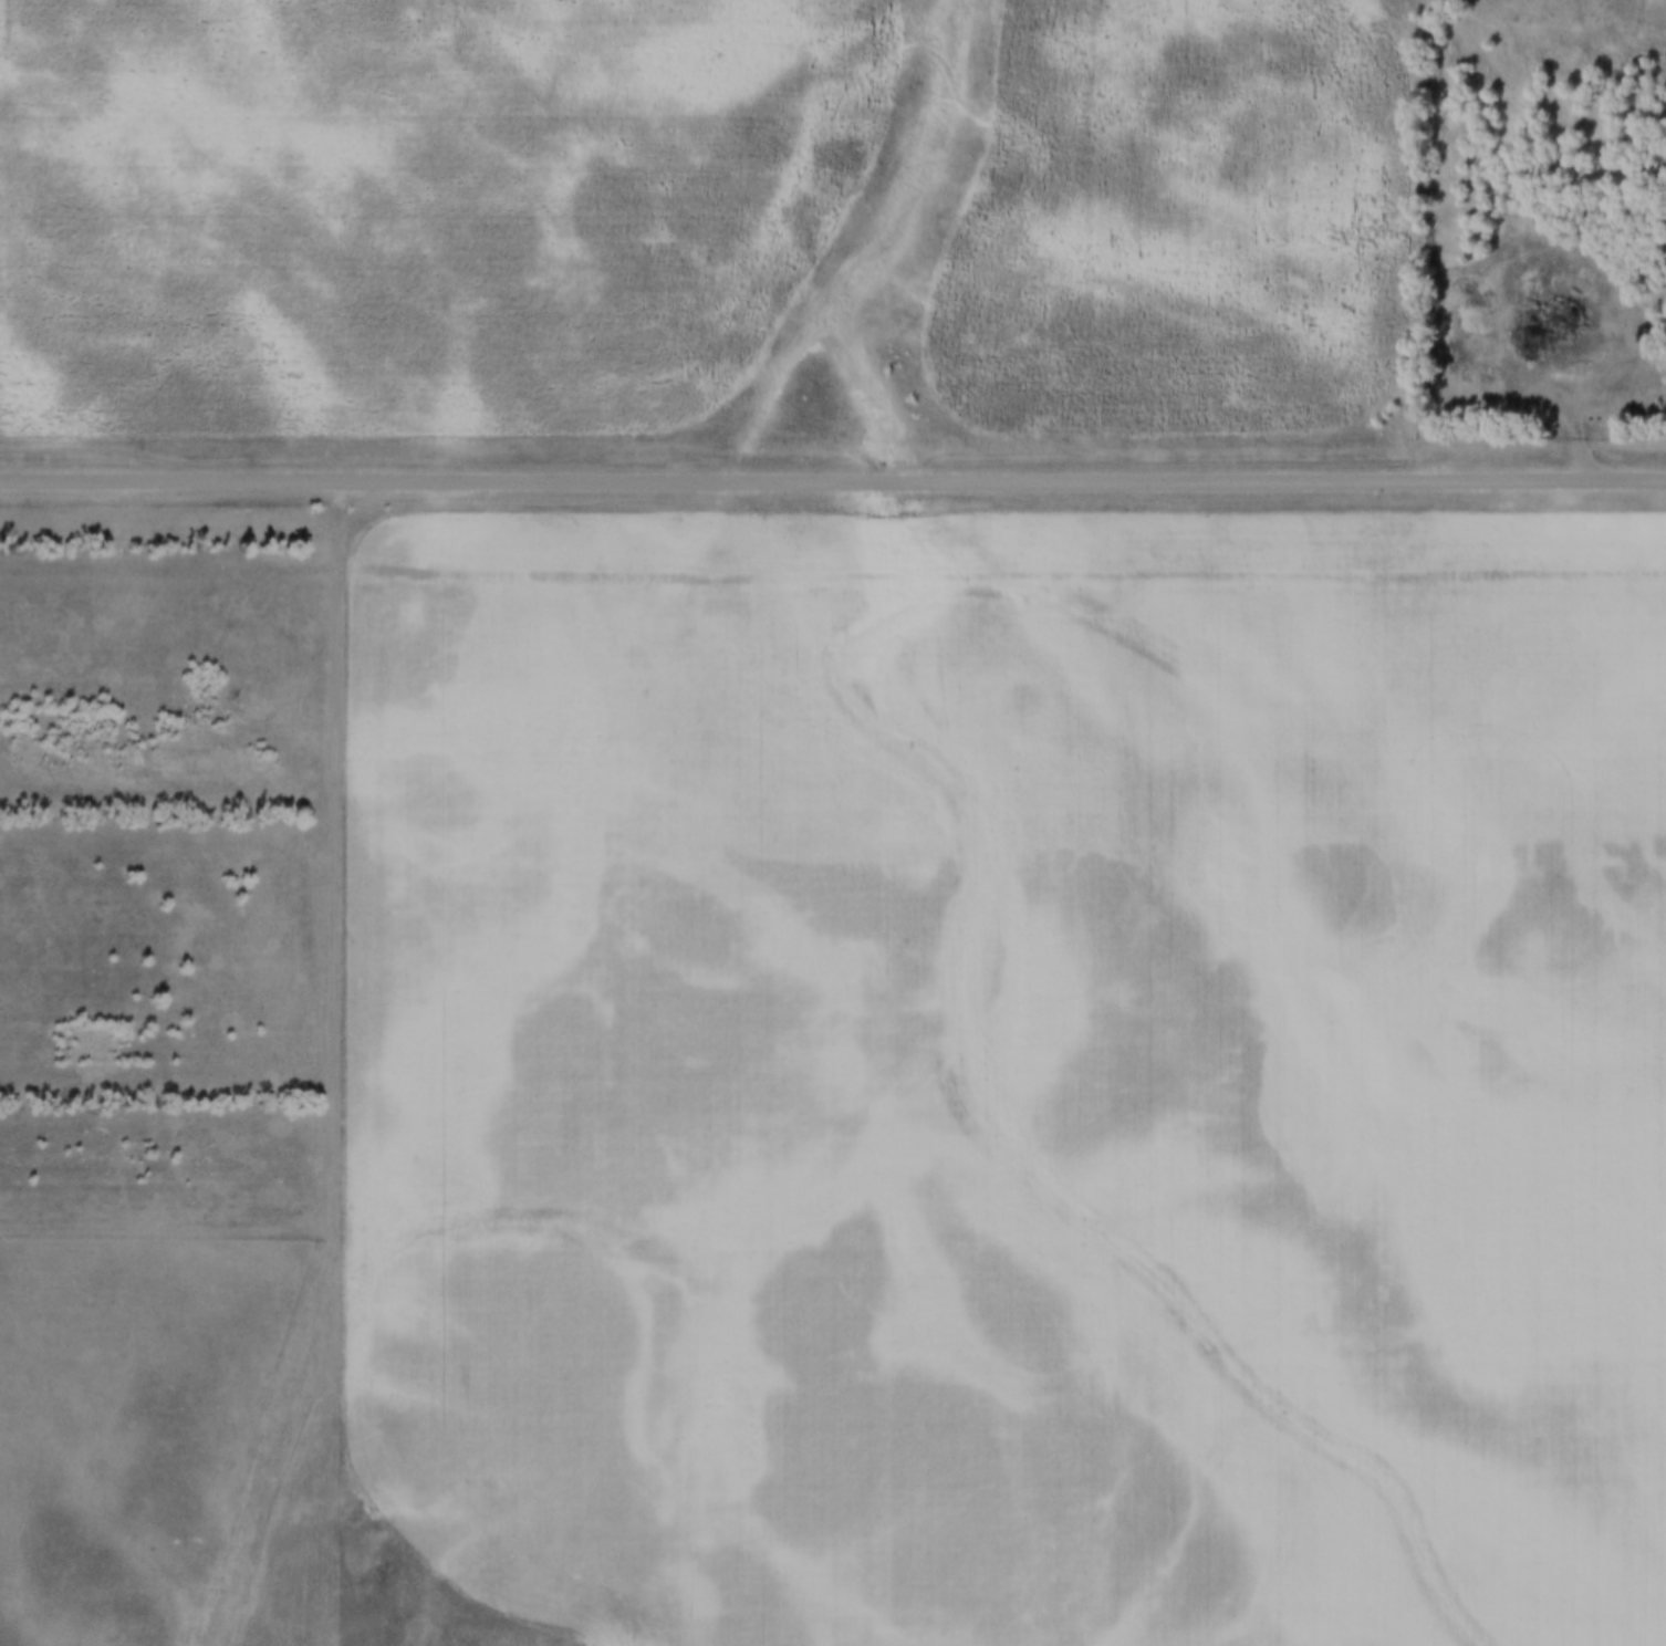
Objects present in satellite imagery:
crop: (1184, 217)
road: (1596, 374)
road: (833, 487)
building: (875, 1060)
road: (340, 1073)
road: (167, 1231)

